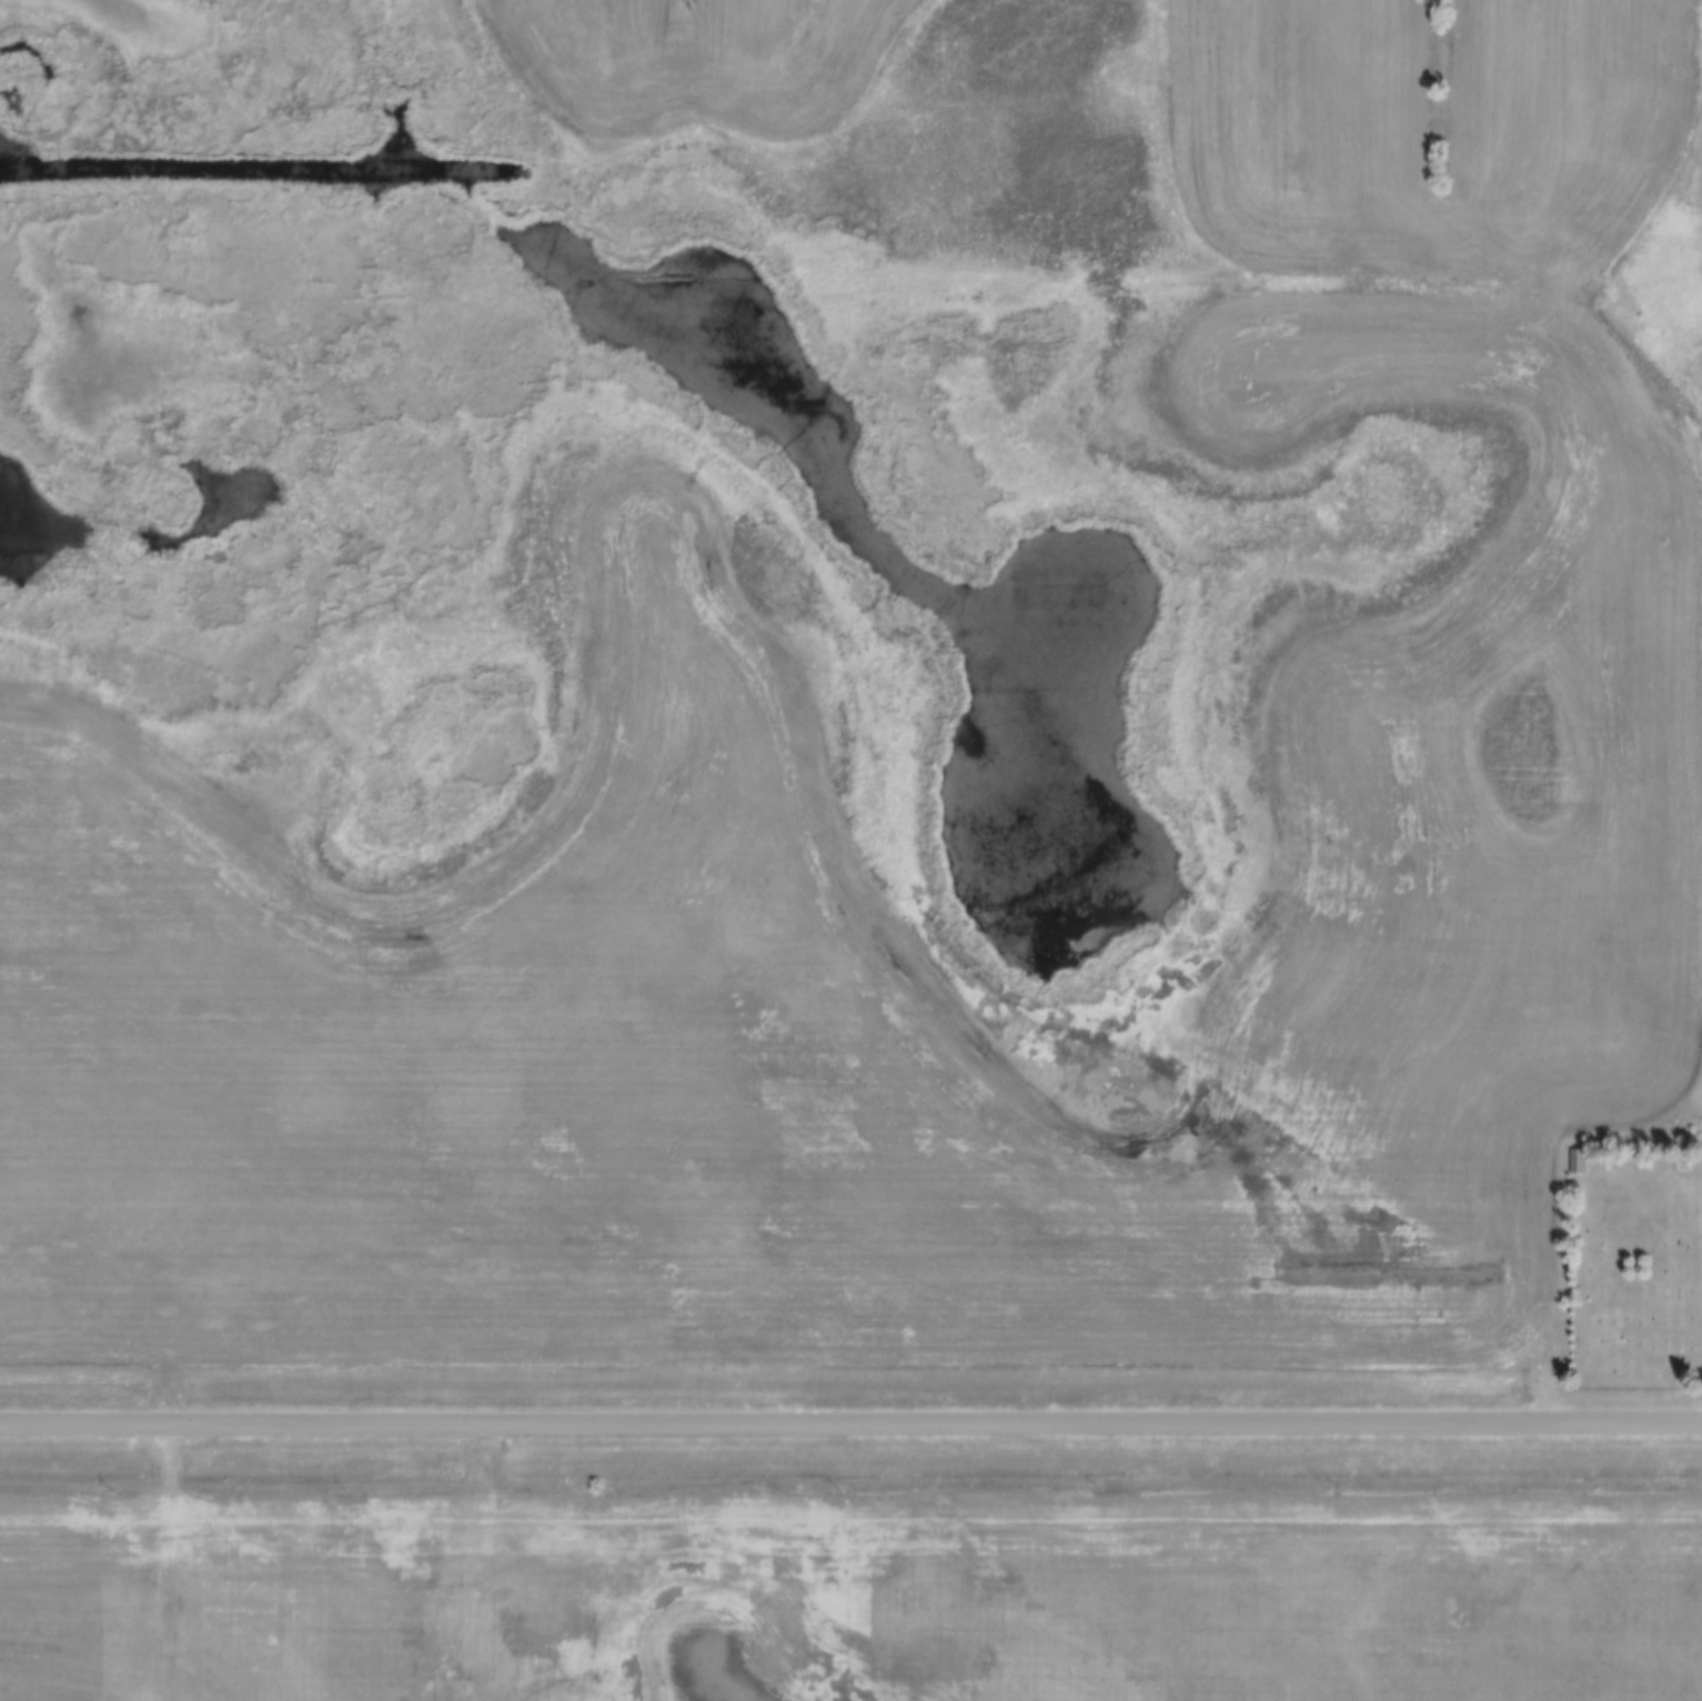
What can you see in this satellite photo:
road: (850, 1423)

